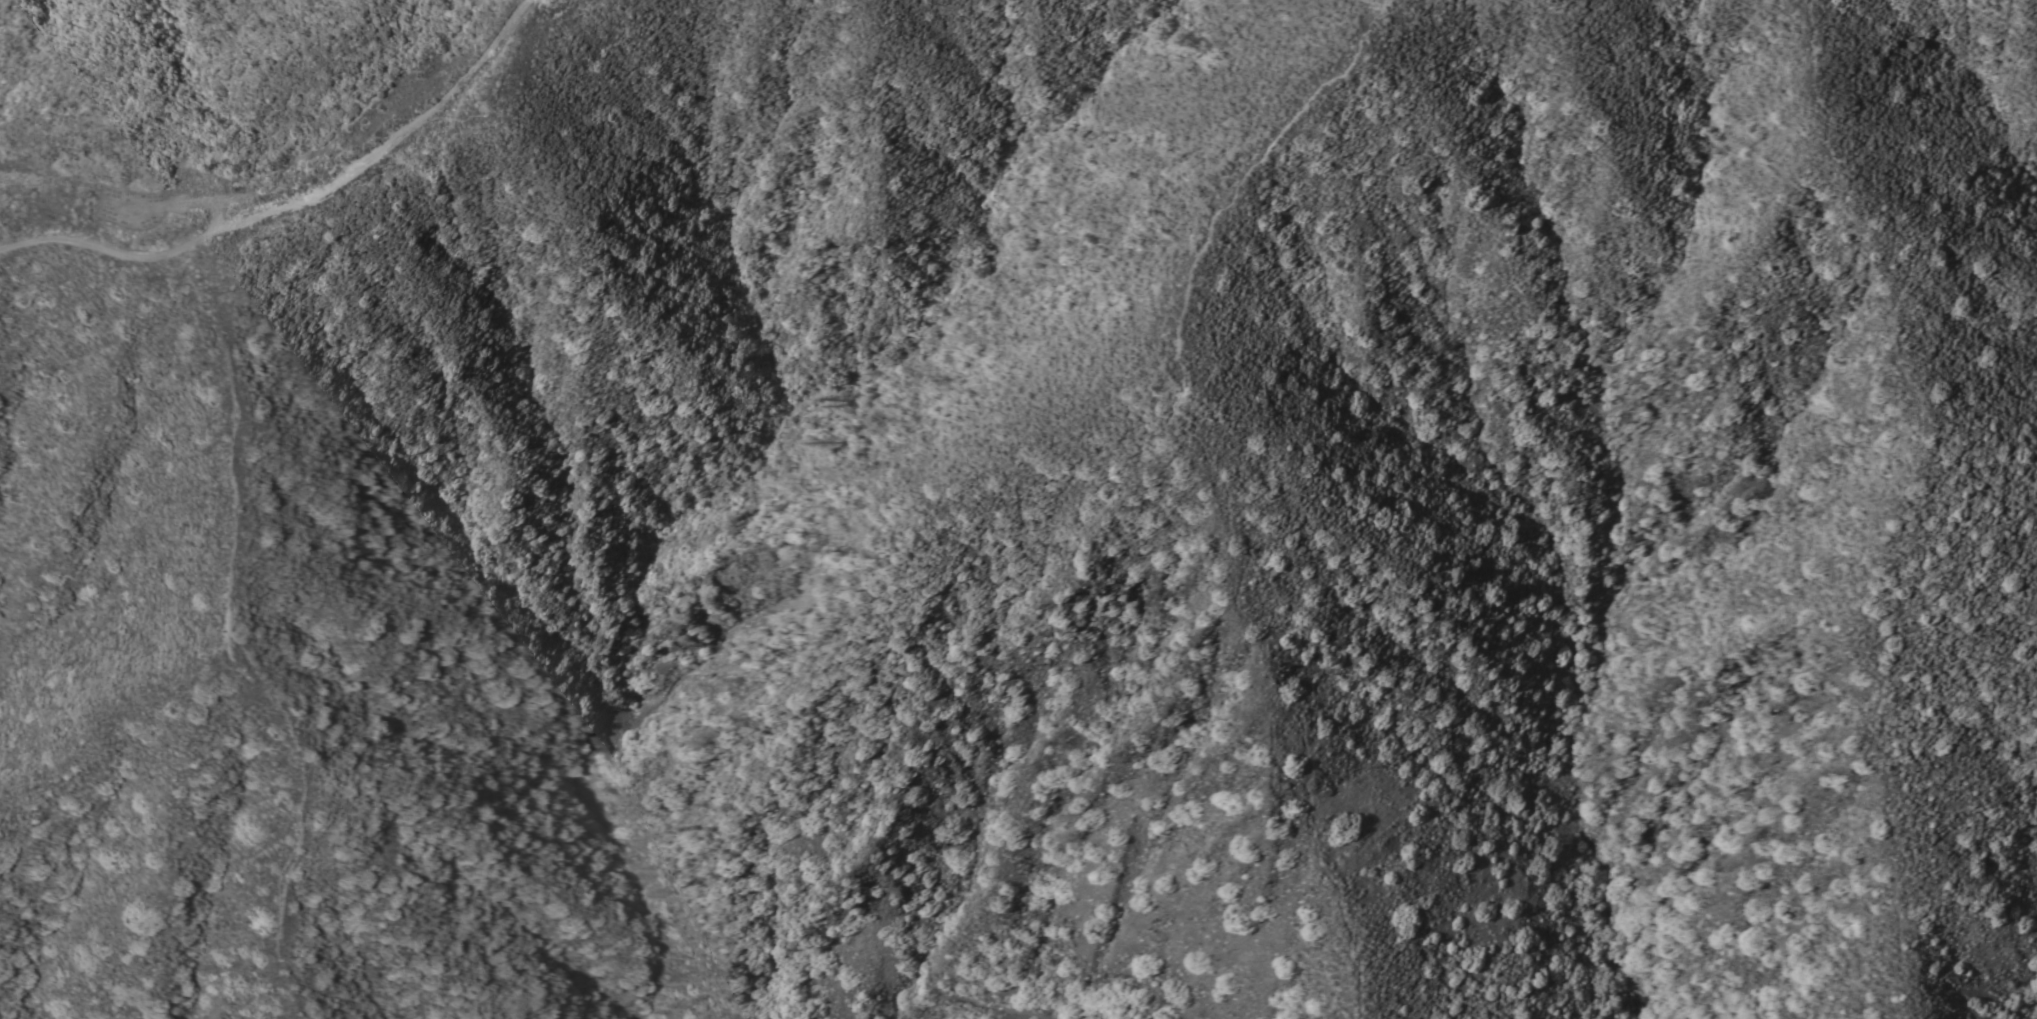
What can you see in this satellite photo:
road: (301, 204)
park: (1648, 599)

